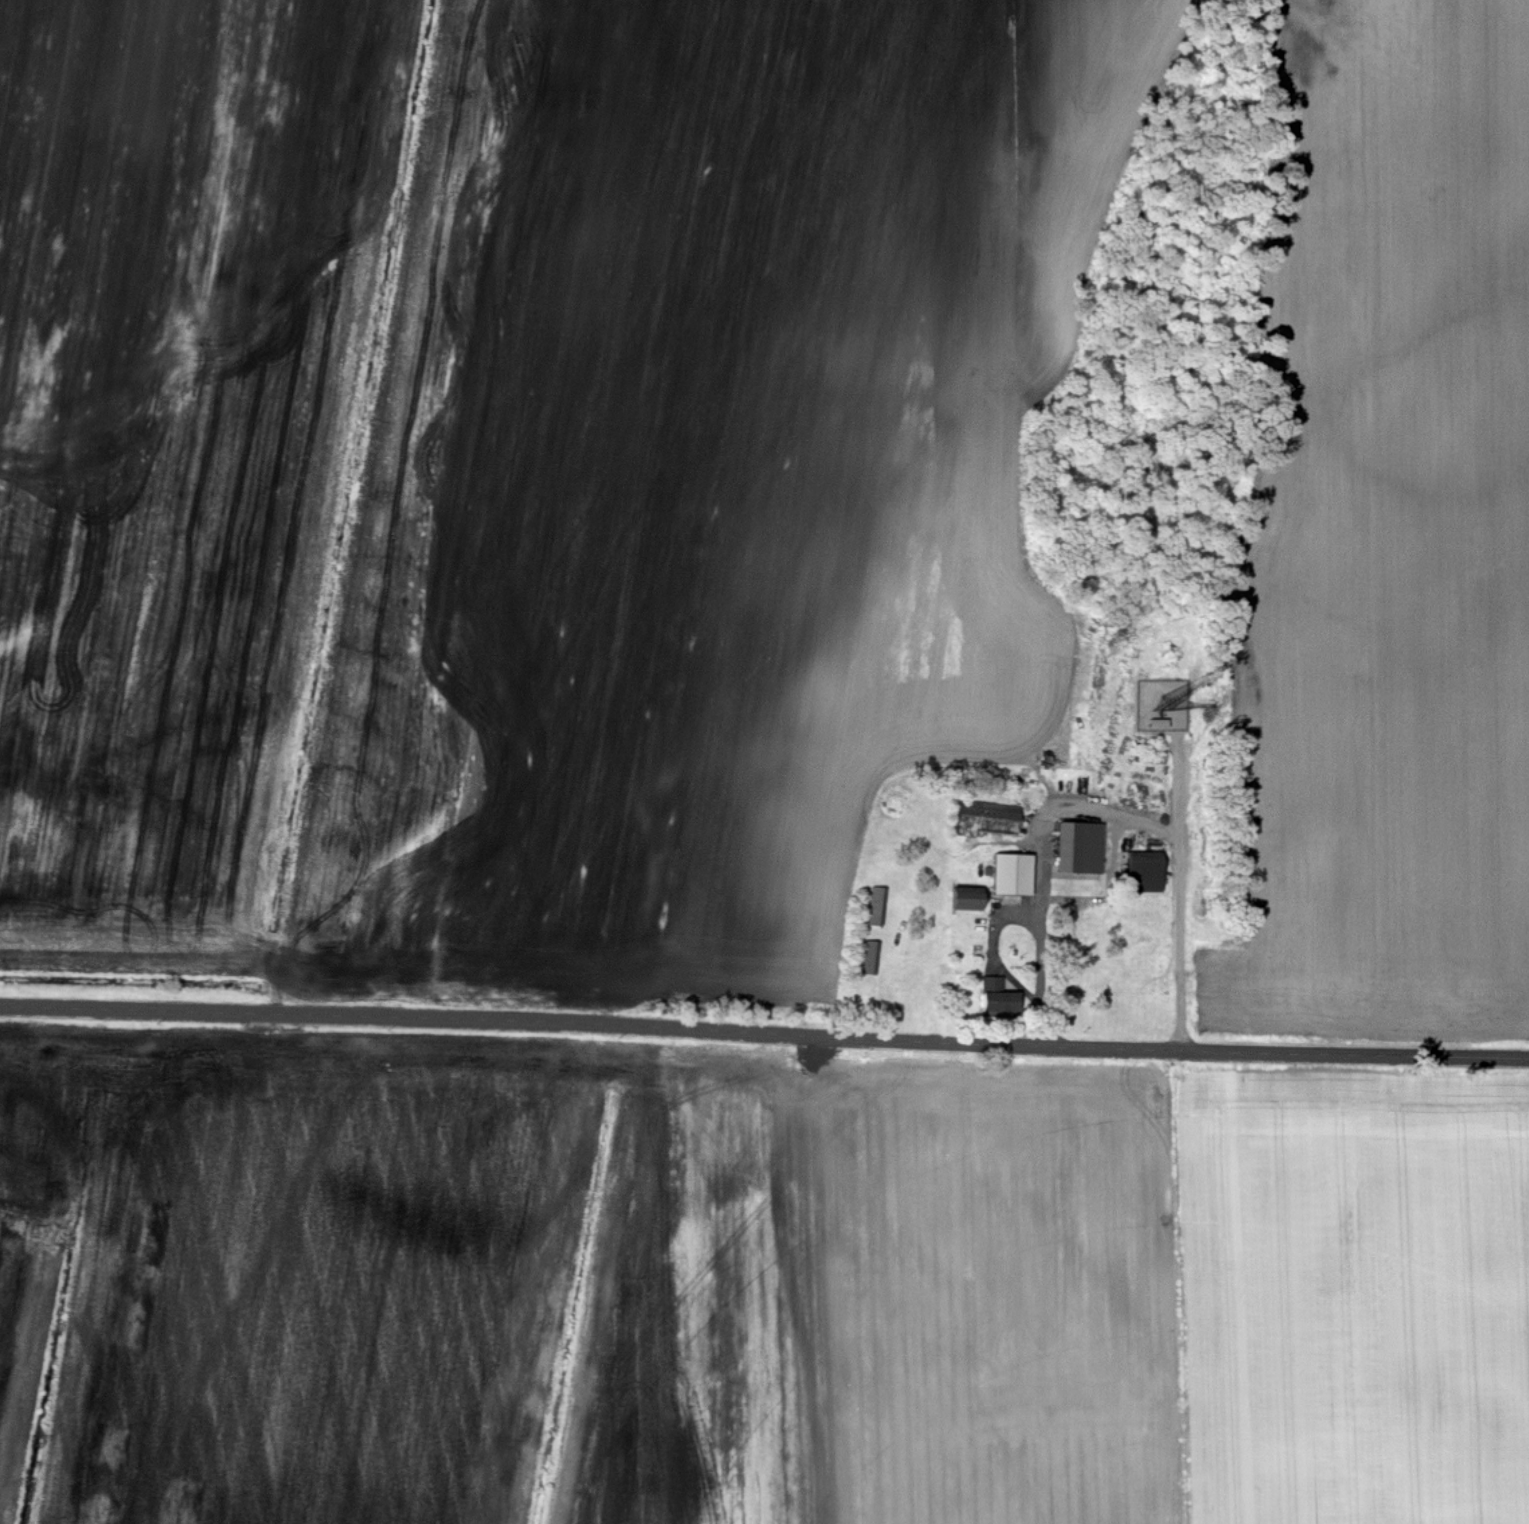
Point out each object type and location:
road: (1083, 811)
building: (986, 818)
building: (1079, 847)
building: (1143, 871)
building: (1011, 873)
building: (965, 898)
building: (873, 910)
road: (764, 1032)

